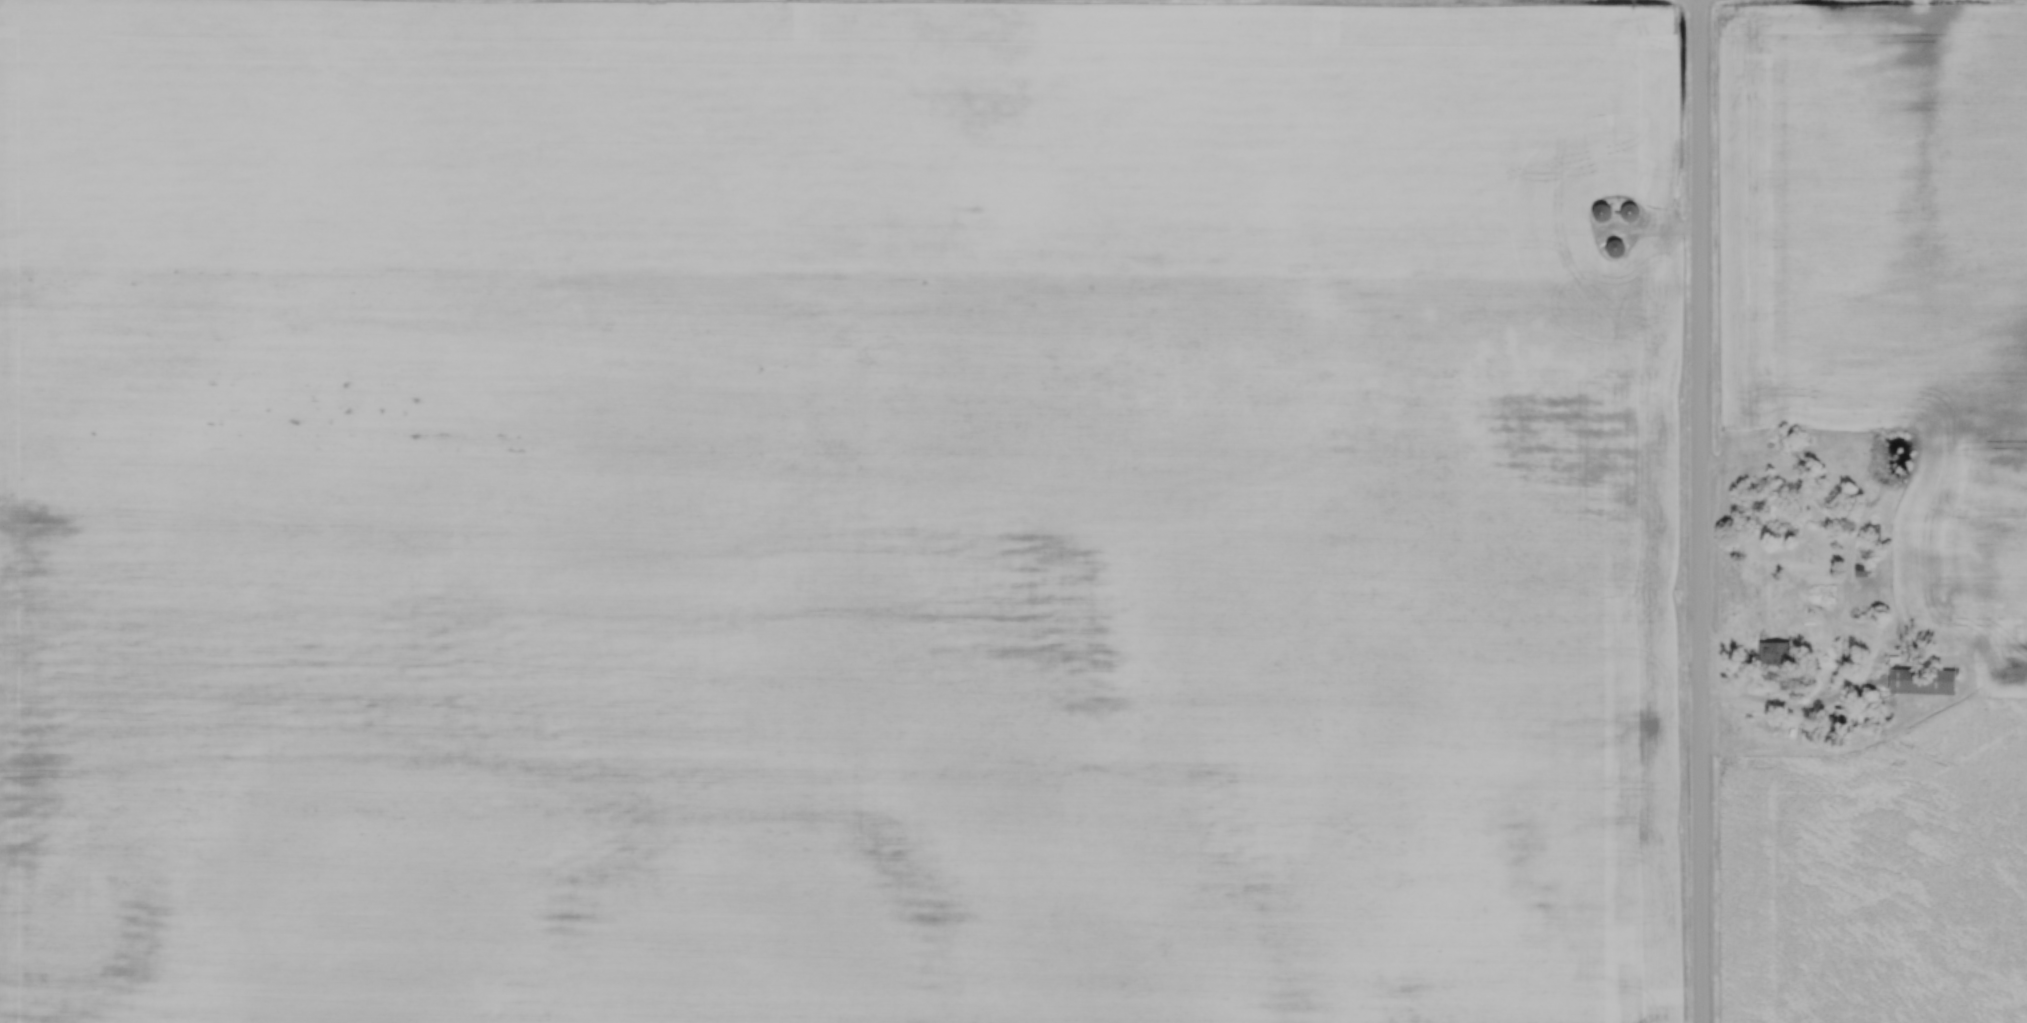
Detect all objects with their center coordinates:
building: (1603, 213)
building: (1617, 249)
road: (1697, 511)
building: (1860, 568)
building: (1769, 652)
building: (1916, 679)
road: (1765, 684)
building: (1834, 724)

